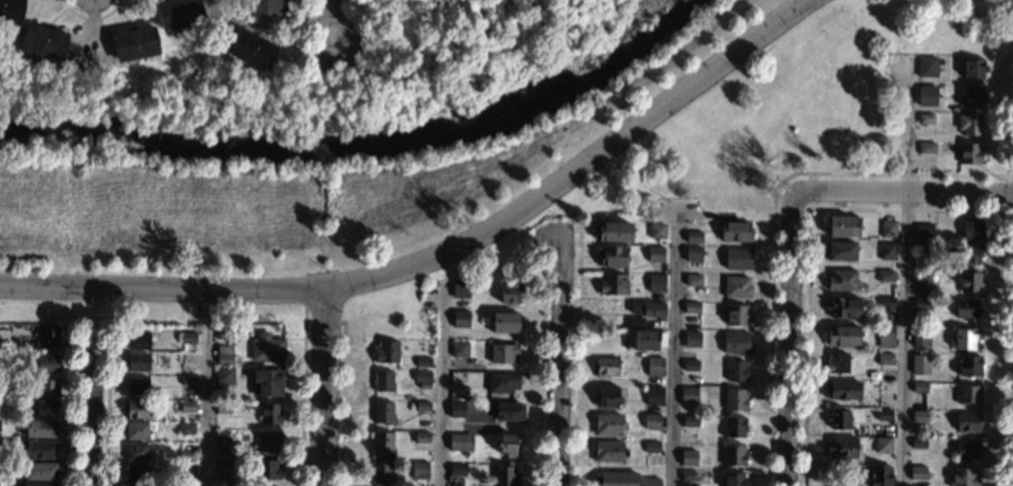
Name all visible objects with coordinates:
building: (264, 7)
building: (11, 11)
building: (179, 13)
road: (89, 19)
road: (263, 24)
road: (330, 27)
road: (298, 31)
building: (44, 42)
building: (135, 43)
building: (253, 50)
building: (927, 66)
building: (974, 68)
building: (927, 91)
building: (972, 97)
building: (926, 118)
building: (970, 125)
park: (452, 139)
river: (366, 144)
building: (929, 147)
building: (969, 153)
road: (579, 166)
road: (903, 194)
building: (843, 226)
building: (888, 229)
building: (926, 230)
building: (972, 230)
building: (657, 231)
building: (614, 232)
building: (736, 232)
building: (694, 237)
building: (923, 247)
building: (842, 251)
building: (887, 251)
building: (693, 253)
building: (655, 254)
building: (970, 254)
building: (613, 256)
building: (738, 259)
building: (929, 265)
road: (905, 275)
building: (885, 276)
building: (693, 280)
building: (841, 280)
building: (922, 280)
building: (970, 281)
building: (656, 282)
building: (613, 284)
road: (164, 286)
building: (737, 287)
building: (461, 288)
road: (305, 289)
building: (511, 291)
building: (923, 304)
building: (887, 305)
building: (692, 307)
building: (844, 308)
building: (966, 308)
building: (648, 309)
building: (736, 314)
road: (91, 317)
road: (324, 318)
building: (461, 319)
building: (506, 322)
building: (635, 322)
building: (843, 335)
building: (886, 335)
building: (187, 337)
building: (921, 337)
building: (50, 338)
building: (692, 339)
building: (965, 339)
building: (138, 340)
building: (646, 340)
road: (787, 341)
building: (736, 342)
building: (267, 348)
road: (671, 348)
building: (460, 349)
building: (386, 351)
building: (503, 353)
building: (224, 355)
road: (557, 358)
building: (885, 359)
building: (921, 360)
building: (138, 362)
building: (423, 362)
building: (47, 363)
building: (837, 363)
building: (691, 365)
building: (607, 366)
building: (654, 366)
building: (969, 367)
building: (737, 371)
building: (224, 375)
building: (458, 377)
building: (423, 379)
building: (188, 381)
building: (383, 381)
building: (268, 382)
building: (503, 382)
building: (137, 385)
road: (326, 386)
building: (48, 387)
road: (207, 387)
building: (886, 387)
building: (920, 388)
building: (842, 389)
road: (440, 391)
building: (968, 393)
building: (688, 395)
road: (303, 396)
building: (654, 396)
building: (608, 397)
building: (736, 400)
building: (411, 405)
building: (187, 406)
building: (423, 406)
building: (42, 407)
building: (223, 407)
building: (137, 409)
building: (457, 409)
road: (91, 411)
building: (509, 411)
building: (383, 413)
building: (270, 414)
building: (884, 414)
building: (919, 415)
building: (838, 419)
building: (652, 420)
building: (690, 421)
building: (968, 422)
building: (609, 424)
building: (734, 426)
building: (186, 428)
building: (42, 429)
building: (136, 430)
building: (221, 435)
building: (422, 437)
building: (268, 441)
building: (382, 442)
building: (460, 442)
building: (918, 442)
building: (507, 444)
building: (883, 445)
building: (652, 447)
building: (842, 447)
building: (688, 448)
building: (38, 449)
building: (967, 450)
building: (609, 451)
building: (136, 452)
building: (734, 455)
building: (186, 456)
building: (689, 457)
building: (220, 463)
building: (267, 469)
building: (420, 470)
building: (458, 470)
building: (41, 471)
building: (186, 471)
building: (136, 472)
building: (382, 473)
building: (917, 473)
building: (505, 475)
building: (688, 476)
building: (881, 476)
building: (963, 477)
building: (616, 479)
building: (735, 479)
building: (651, 482)
building: (38, 484)
building: (132, 485)

